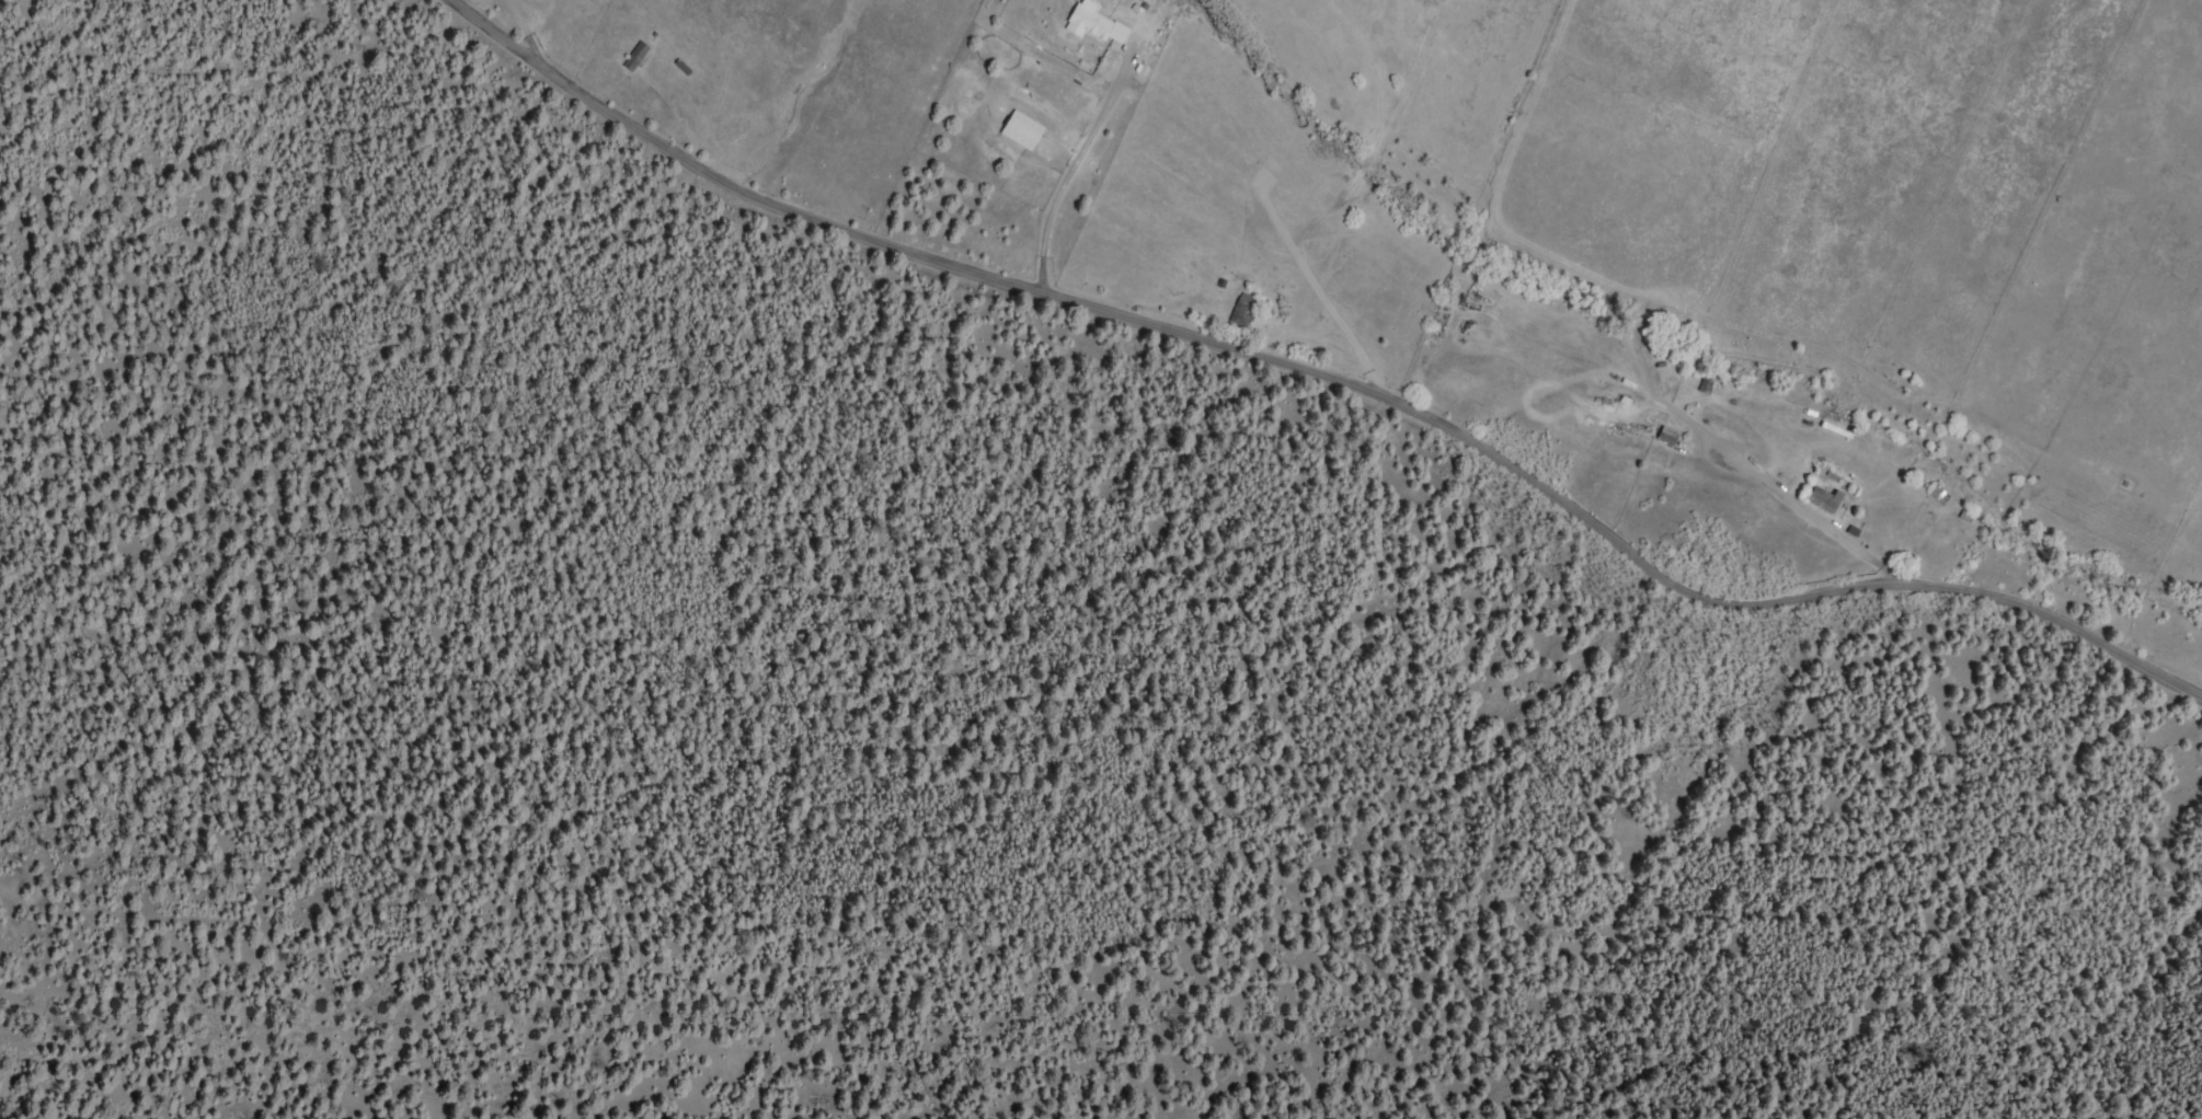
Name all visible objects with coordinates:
building: (1087, 32)
road: (596, 43)
building: (638, 57)
building: (1025, 131)
road: (920, 185)
road: (1285, 287)
building: (1245, 310)
road: (1486, 356)
road: (1343, 379)
building: (1843, 434)
building: (1670, 439)
road: (1904, 452)
building: (1826, 499)

